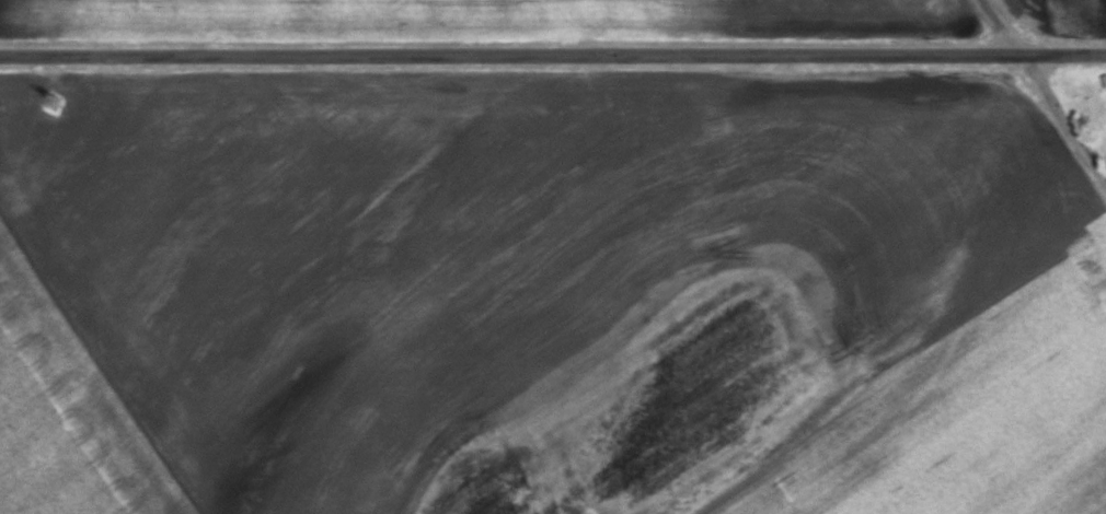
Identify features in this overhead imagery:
crop: (1057, 13)
crop: (499, 21)
road: (553, 57)
road: (1046, 90)
power tower: (54, 100)
crop: (548, 294)

